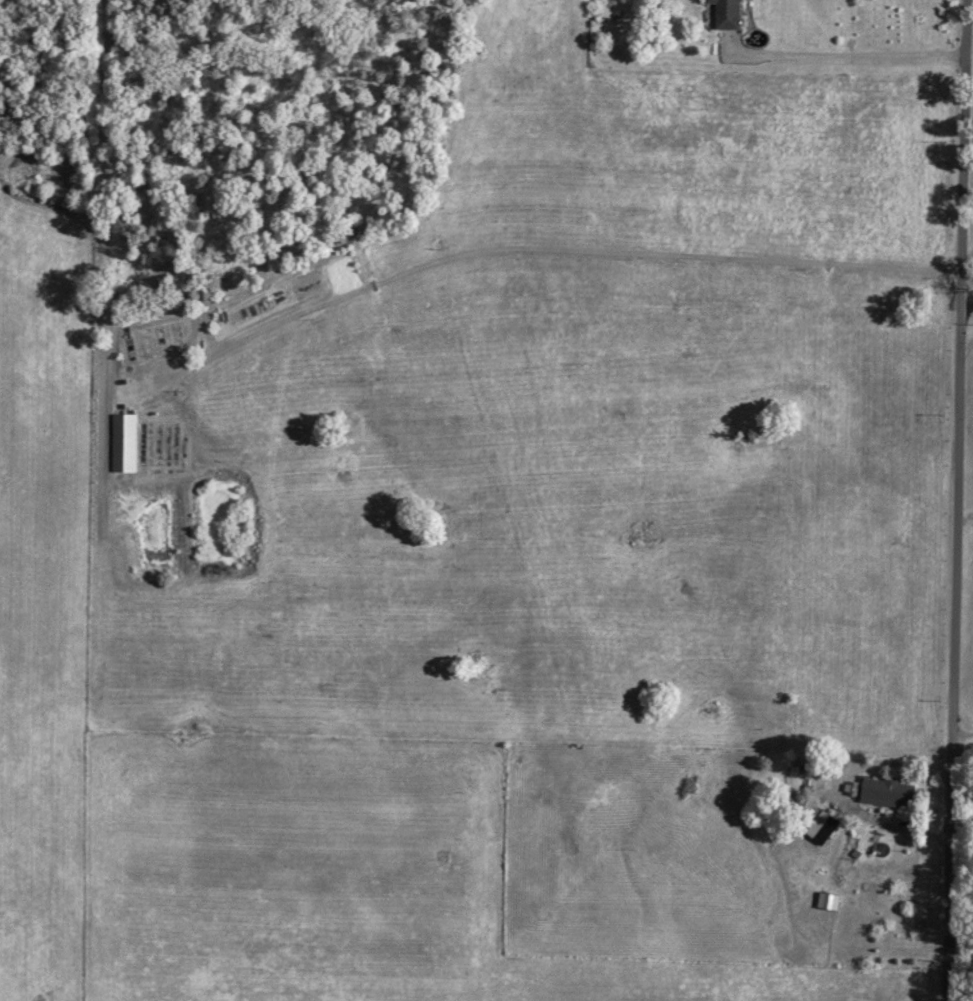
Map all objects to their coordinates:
building: (732, 14)
road: (859, 55)
road: (565, 254)
building: (272, 300)
building: (151, 342)
building: (125, 442)
road: (967, 500)
building: (888, 792)
road: (845, 793)
building: (815, 825)
building: (824, 901)

